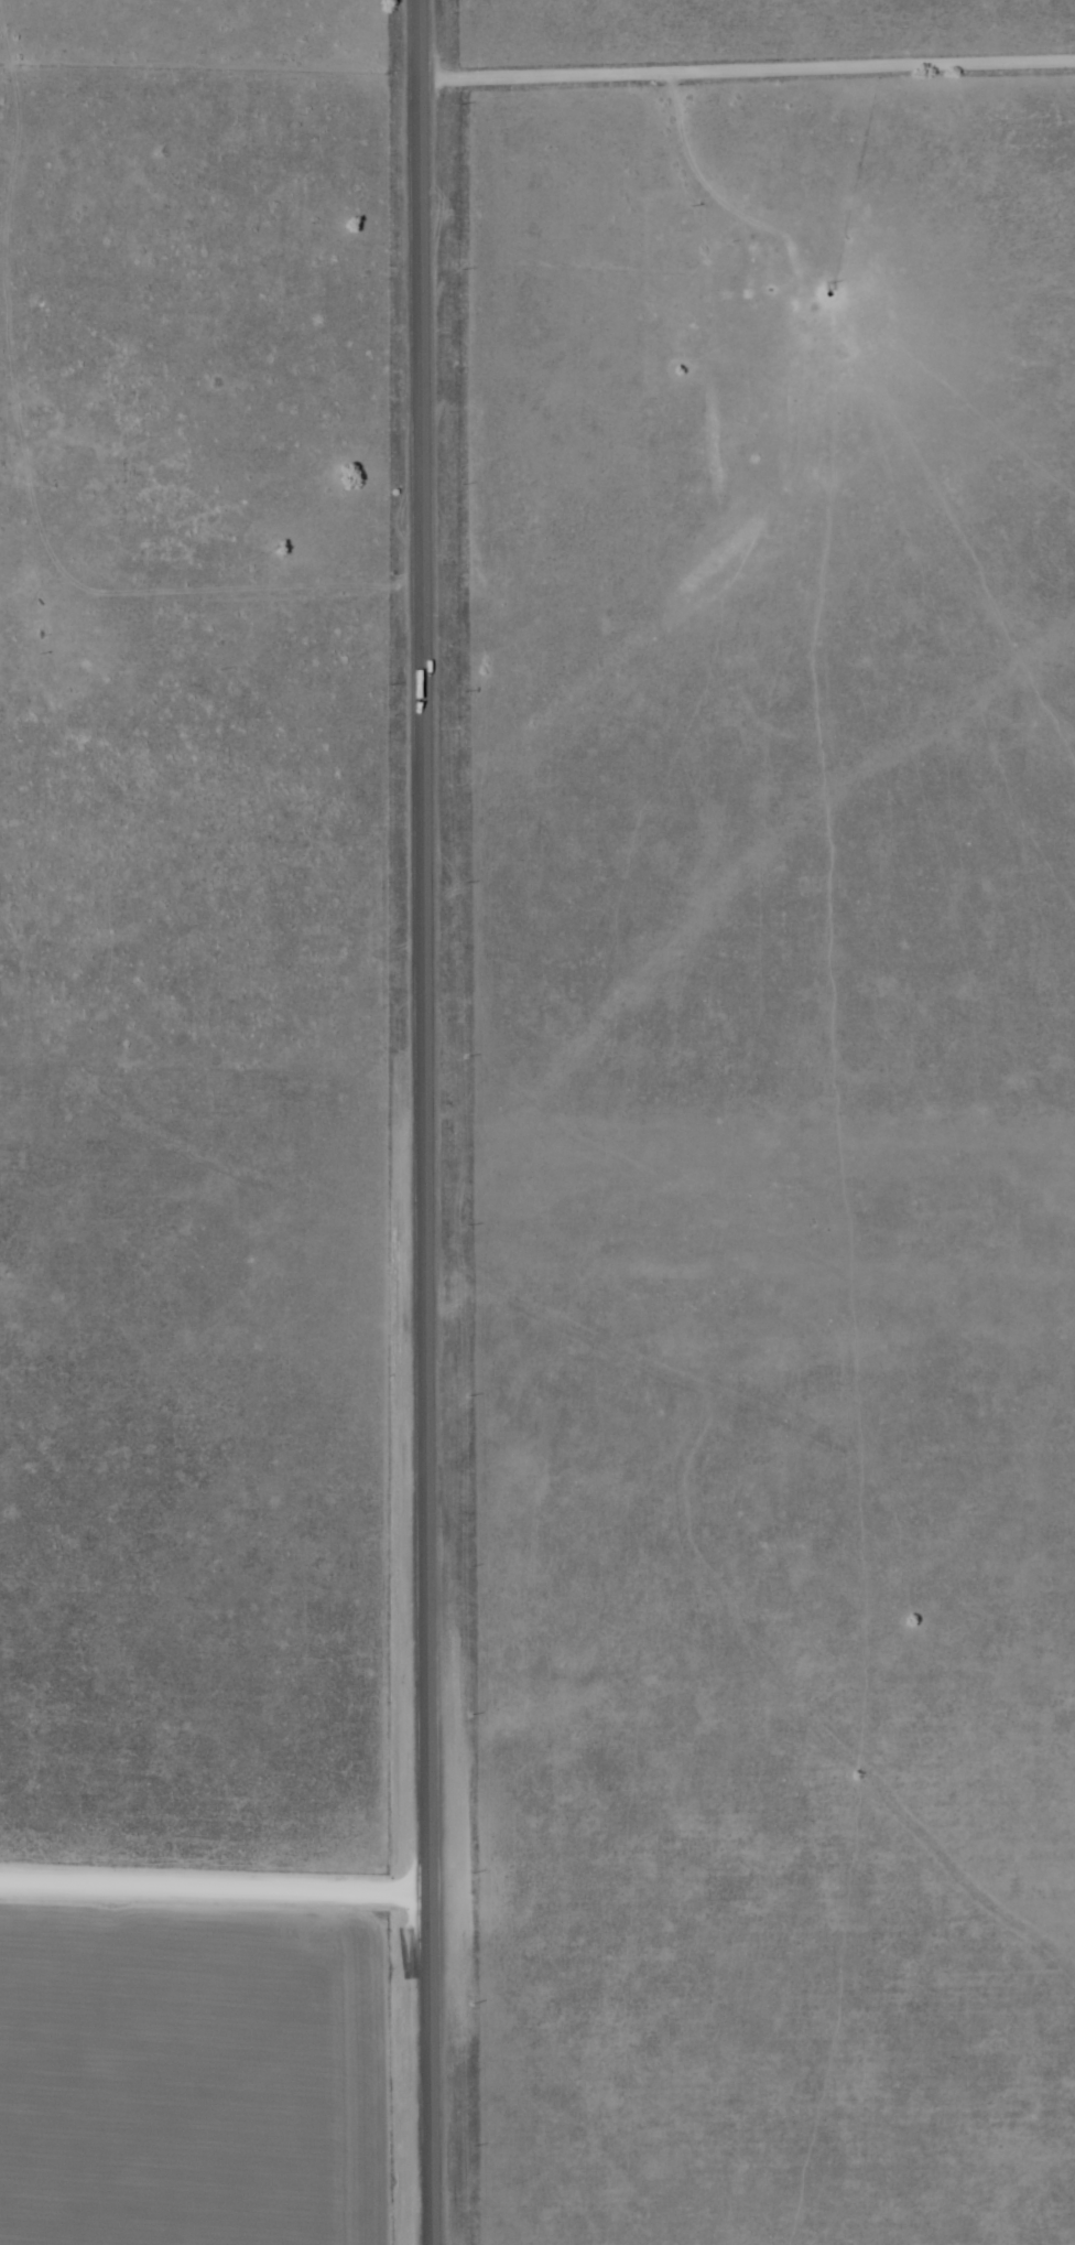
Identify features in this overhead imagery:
road: (753, 76)
road: (691, 165)
road: (435, 1122)
road: (219, 1900)

